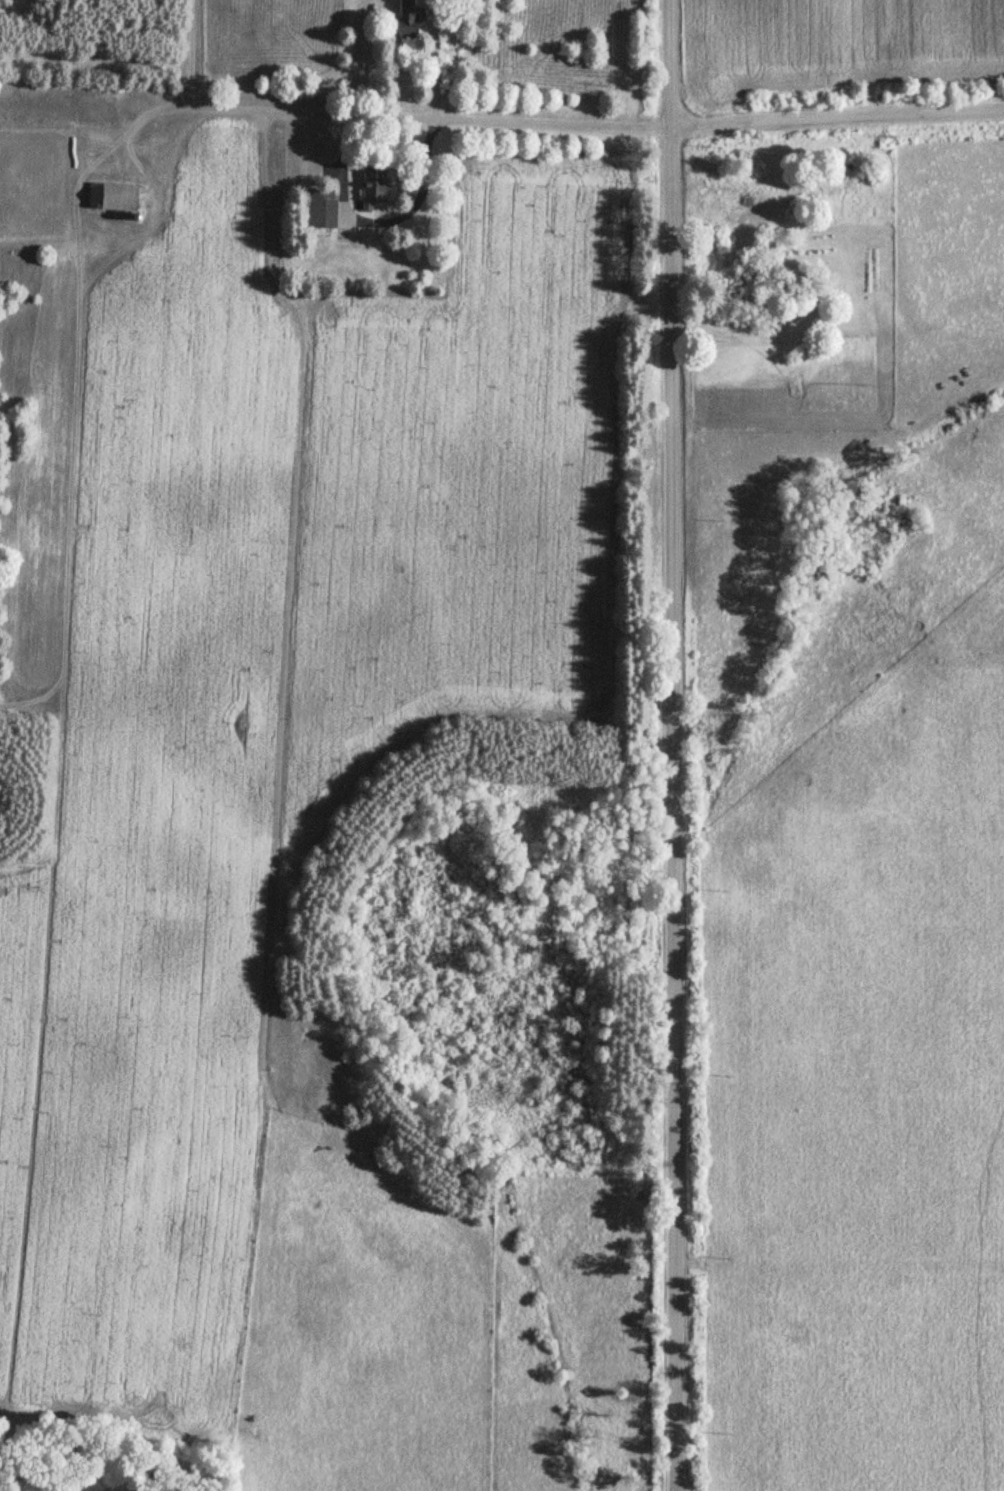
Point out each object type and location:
building: (406, 16)
road: (502, 138)
building: (110, 198)
building: (319, 208)
road: (645, 745)

